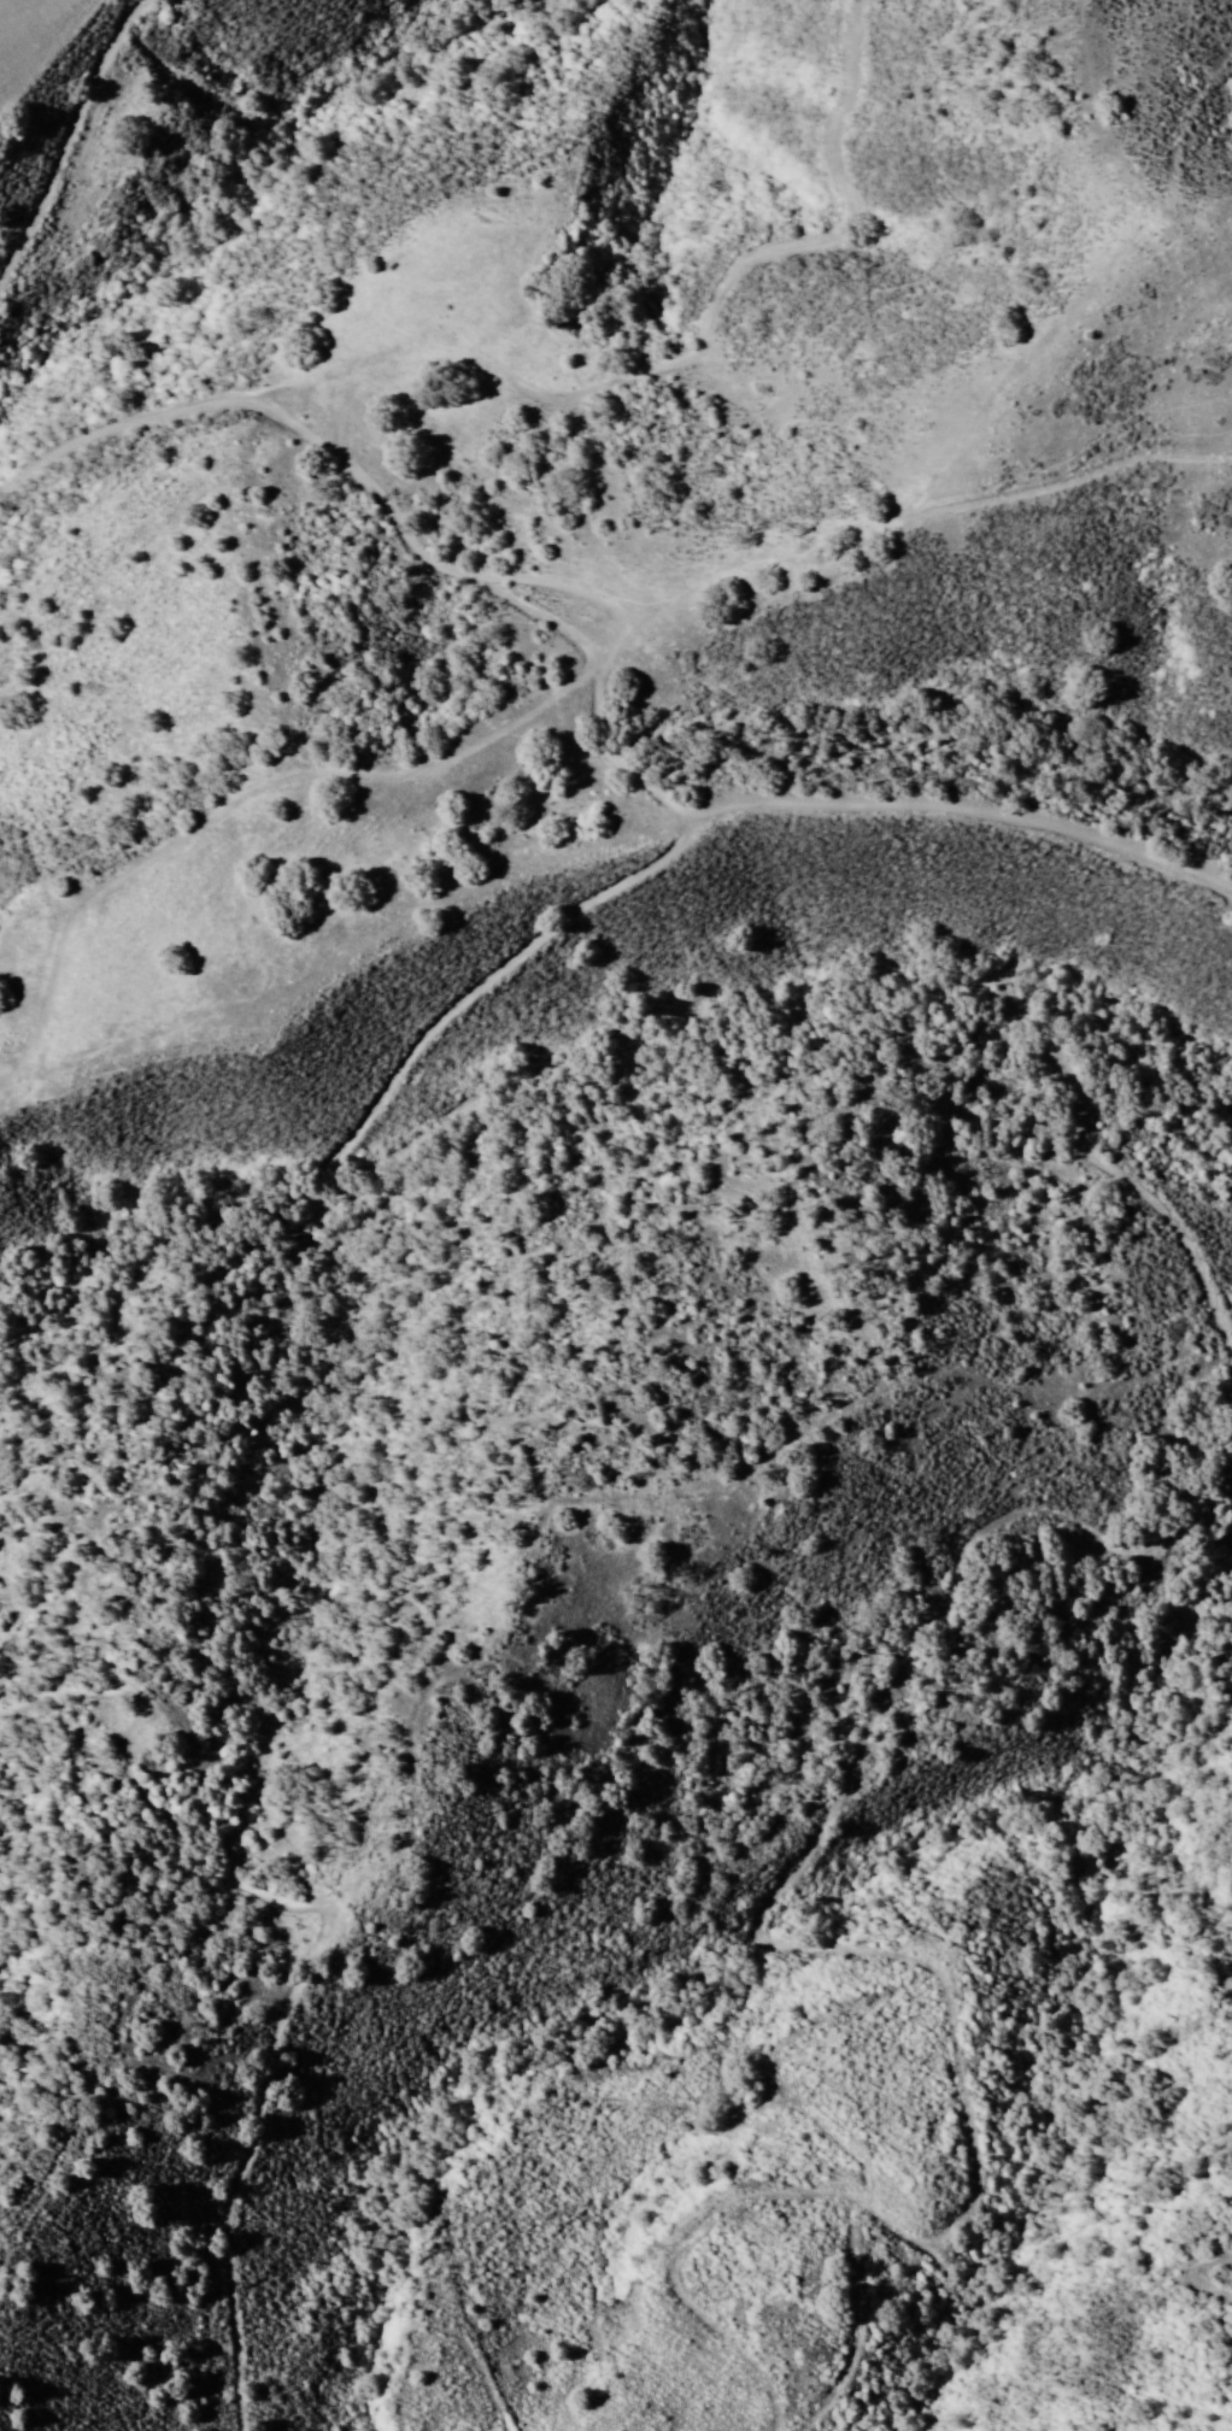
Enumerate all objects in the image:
road: (66, 130)
road: (1031, 241)
road: (250, 658)
road: (599, 869)
road: (245, 2016)

